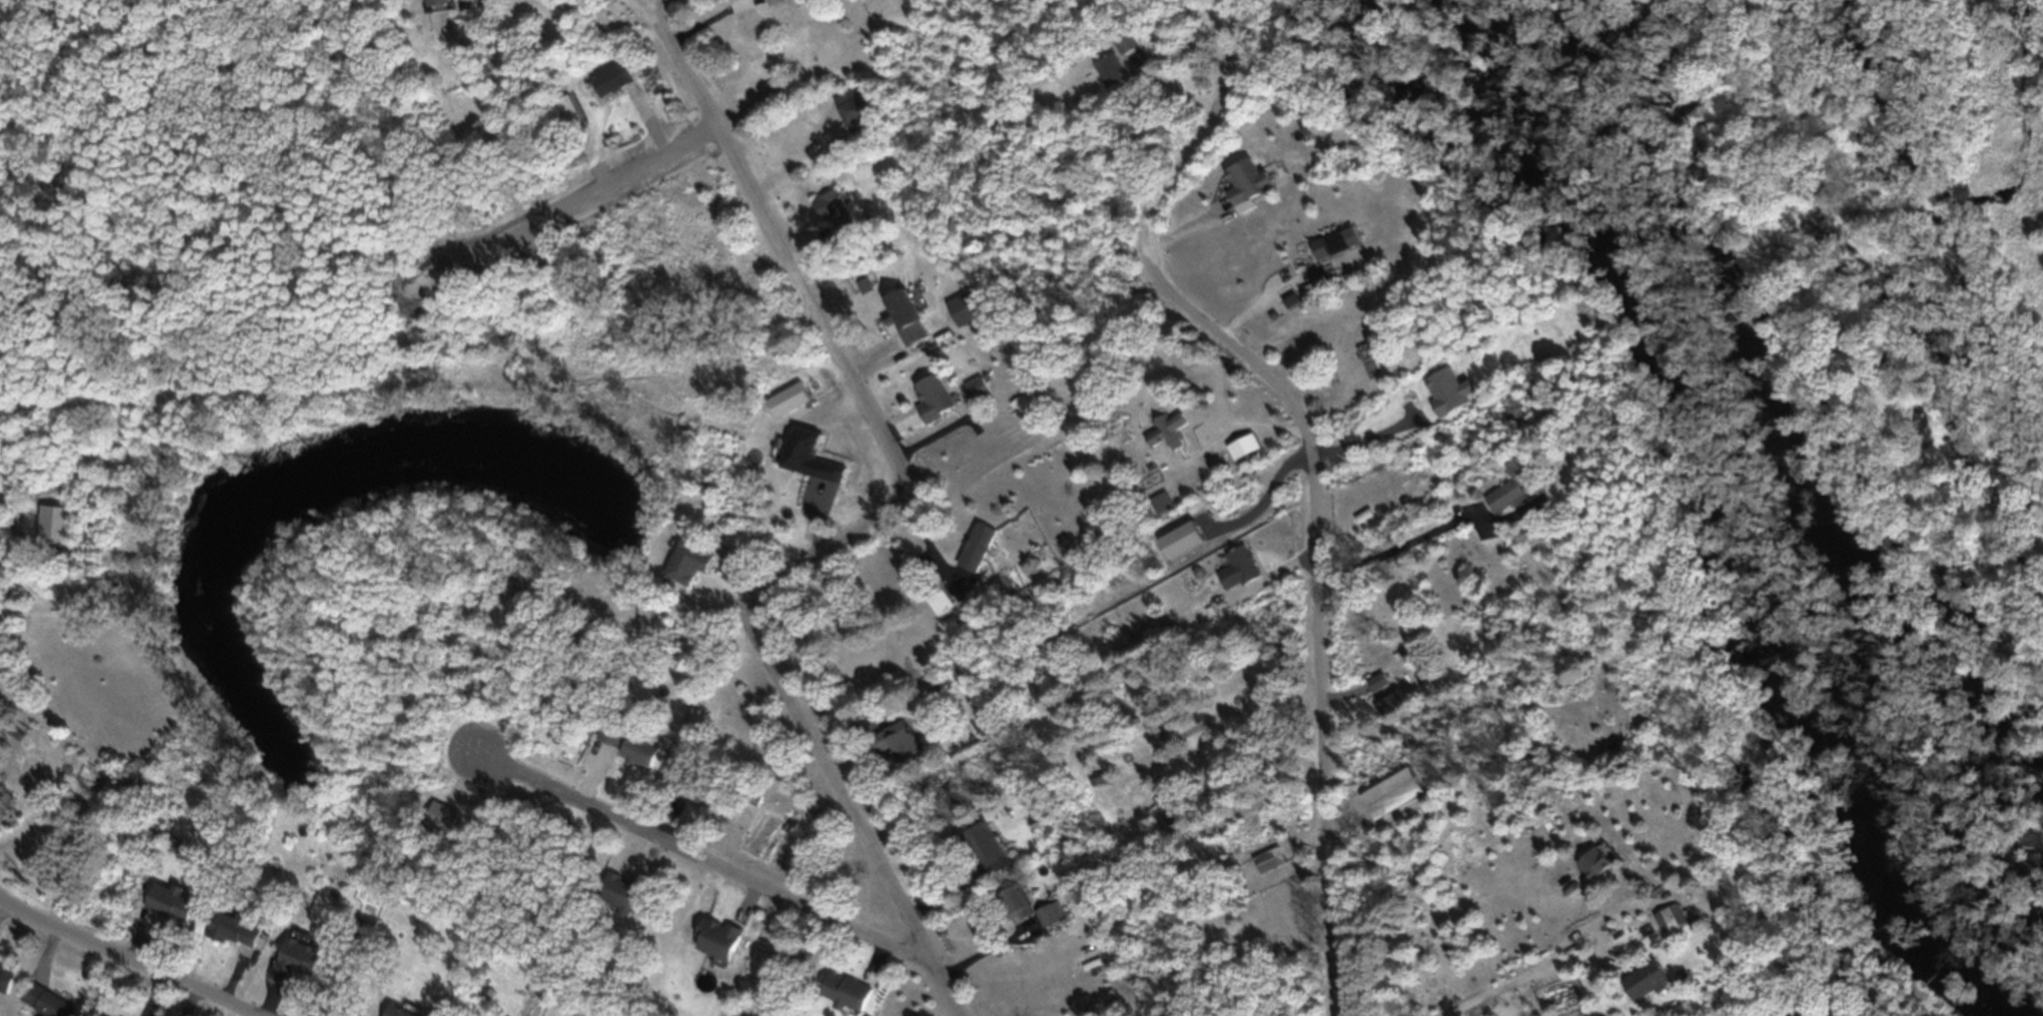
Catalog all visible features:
building: (776, 3)
building: (435, 5)
road: (644, 10)
road: (657, 11)
building: (1124, 49)
building: (609, 87)
building: (563, 118)
road: (683, 138)
building: (1246, 189)
building: (831, 221)
building: (1328, 252)
road: (1258, 294)
building: (907, 322)
building: (1370, 367)
building: (977, 397)
building: (933, 405)
building: (1515, 413)
building: (1416, 424)
road: (1224, 425)
building: (1171, 435)
building: (1154, 447)
building: (1242, 453)
road: (1371, 454)
road: (1313, 460)
road: (1266, 492)
building: (1504, 504)
building: (1161, 509)
road: (856, 531)
road: (1395, 544)
building: (977, 554)
building: (686, 569)
building: (1236, 575)
building: (937, 603)
building: (1384, 701)
building: (1148, 731)
building: (13, 737)
building: (609, 739)
building: (895, 750)
road: (1255, 753)
building: (1390, 801)
building: (1536, 846)
building: (977, 847)
road: (705, 861)
building: (1268, 866)
building: (619, 899)
building: (169, 909)
building: (1012, 909)
building: (1047, 921)
building: (1667, 926)
building: (231, 937)
road: (1592, 937)
building: (1632, 943)
building: (715, 947)
road: (127, 958)
building: (295, 966)
building: (1062, 975)
building: (4, 985)
building: (1641, 988)
road: (1484, 990)
building: (842, 999)
building: (40, 1006)
road: (1588, 1009)
building: (388, 1014)

